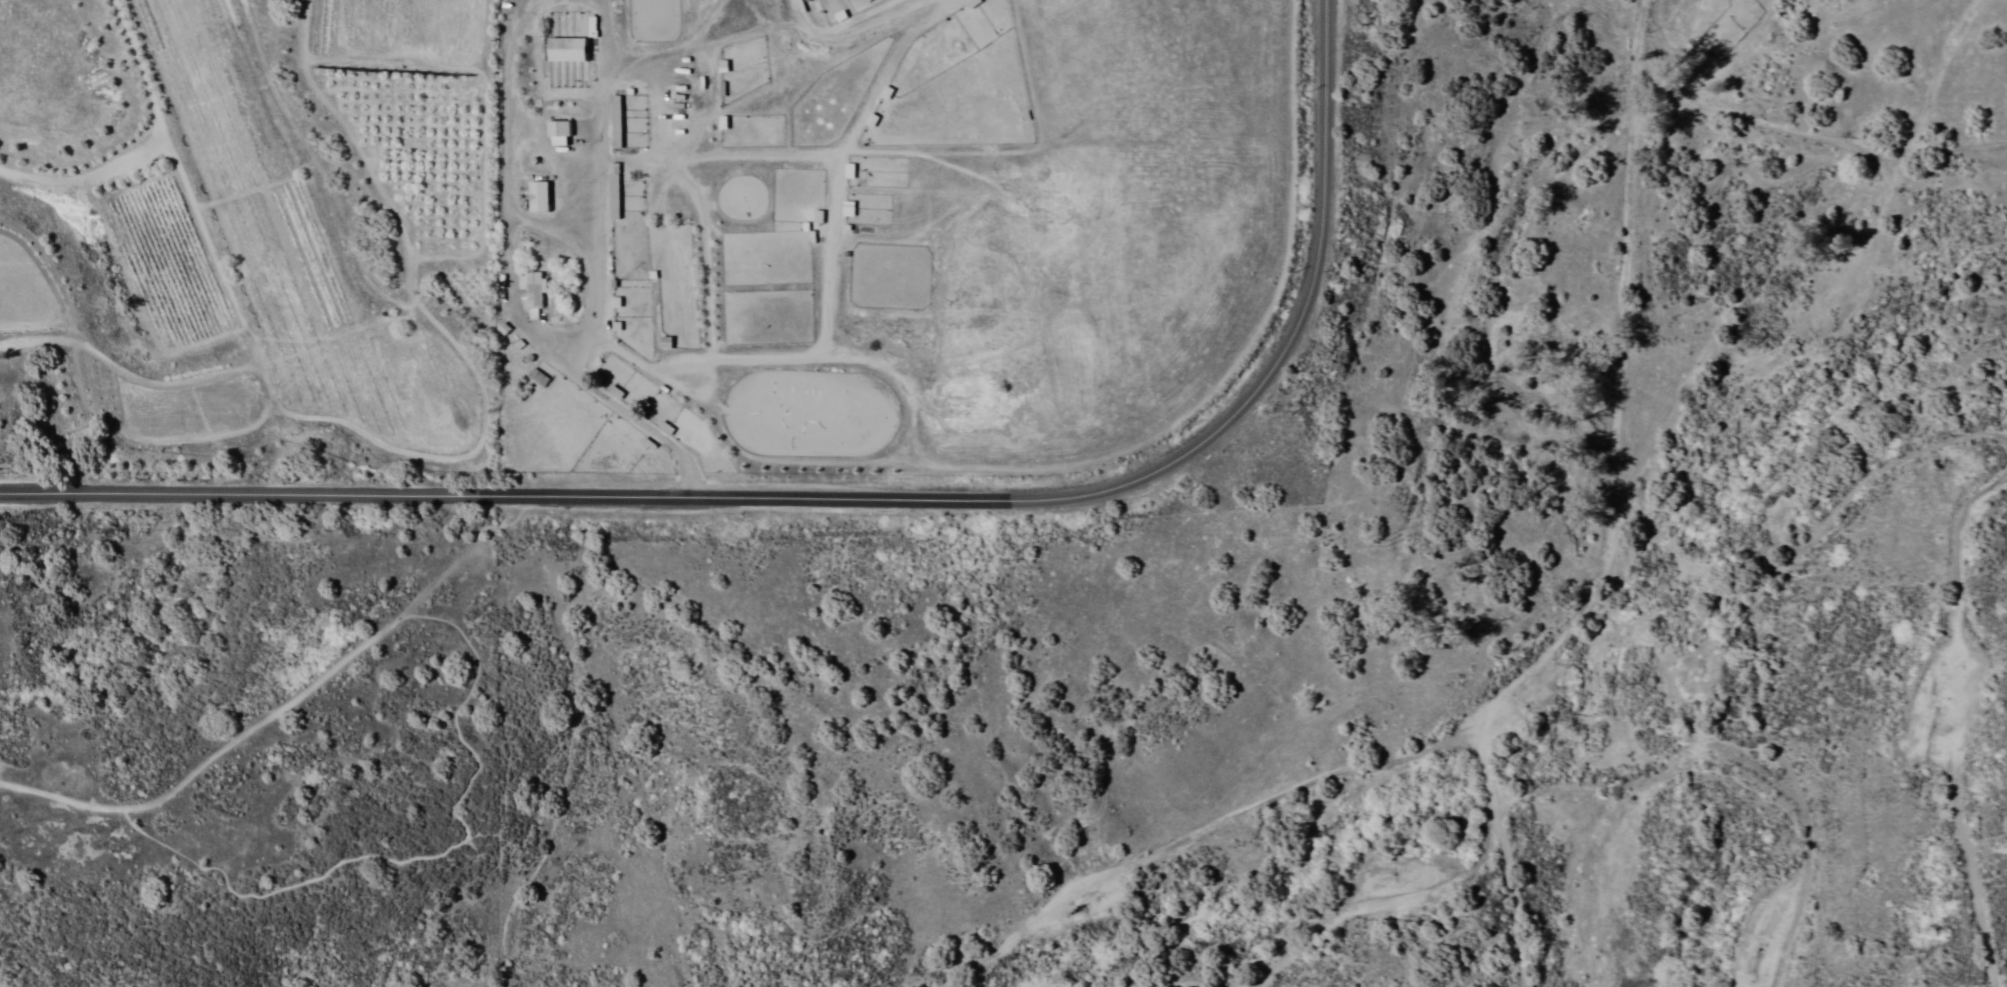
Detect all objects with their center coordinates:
road: (853, 31)
building: (569, 44)
building: (624, 121)
building: (556, 131)
road: (1586, 146)
building: (847, 170)
building: (619, 190)
building: (536, 196)
building: (846, 208)
building: (816, 216)
road: (1760, 259)
road: (1821, 263)
building: (530, 292)
road: (1791, 481)
road: (847, 494)
road: (1616, 517)
park: (292, 611)
road: (1957, 722)
road: (464, 729)
road: (59, 805)

